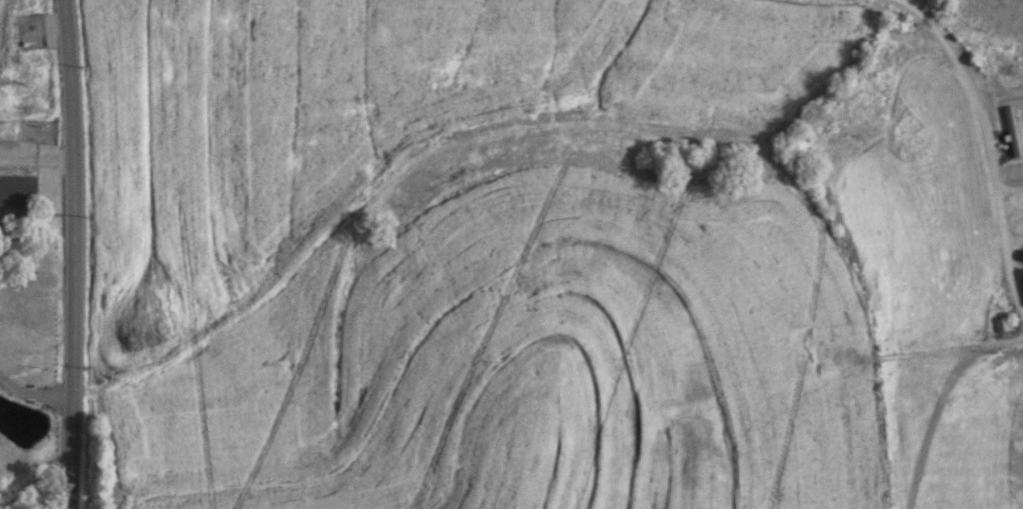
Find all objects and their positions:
building: (1011, 132)
road: (986, 146)
road: (34, 164)
building: (17, 193)
road: (71, 254)
building: (1000, 325)
road: (32, 394)

